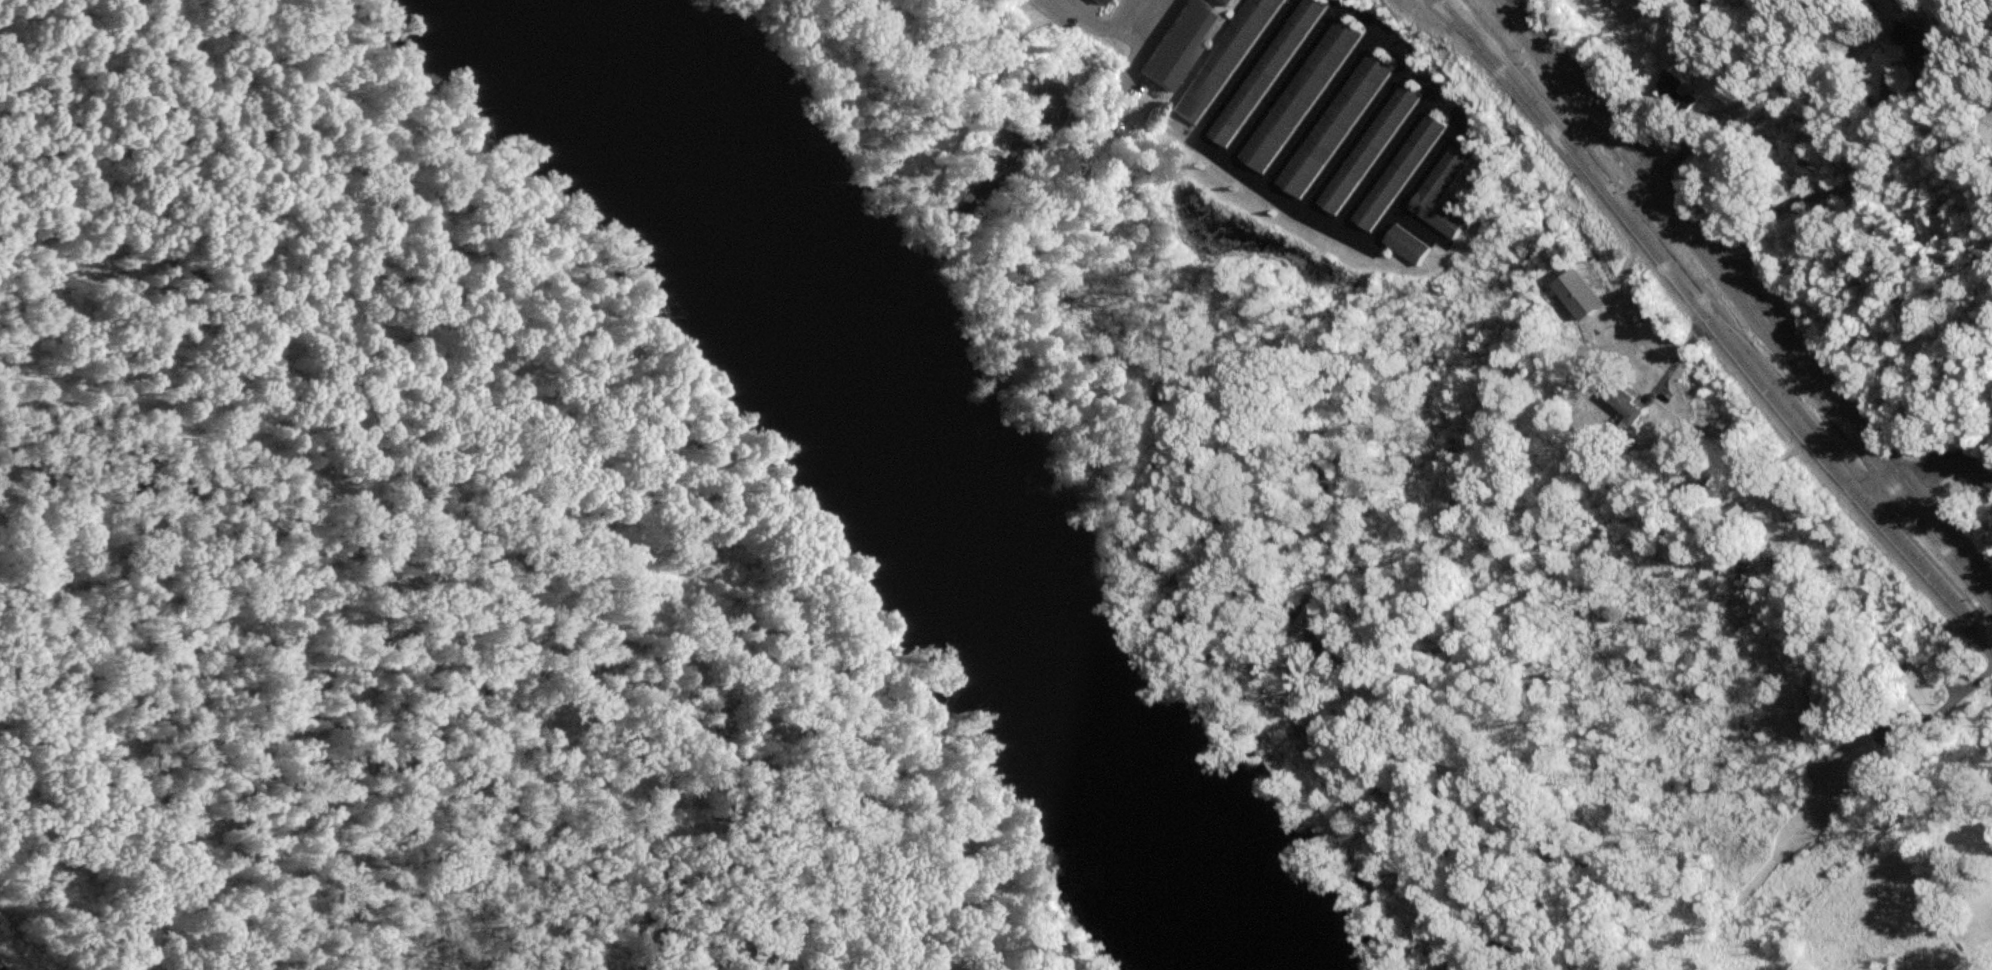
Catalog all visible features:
building: (1101, 1)
building: (1227, 1)
road: (1102, 23)
building: (1178, 43)
building: (1921, 43)
building: (1223, 59)
building: (1265, 72)
building: (1300, 95)
building: (1334, 125)
building: (1368, 149)
building: (1399, 172)
building: (1443, 190)
road: (1826, 190)
road: (1344, 236)
building: (1408, 244)
road: (1751, 304)
road: (1713, 323)
road: (1676, 359)
building: (1625, 403)
road: (1926, 466)
river: (906, 470)
park: (422, 559)
road: (1960, 690)
road: (942, 742)

